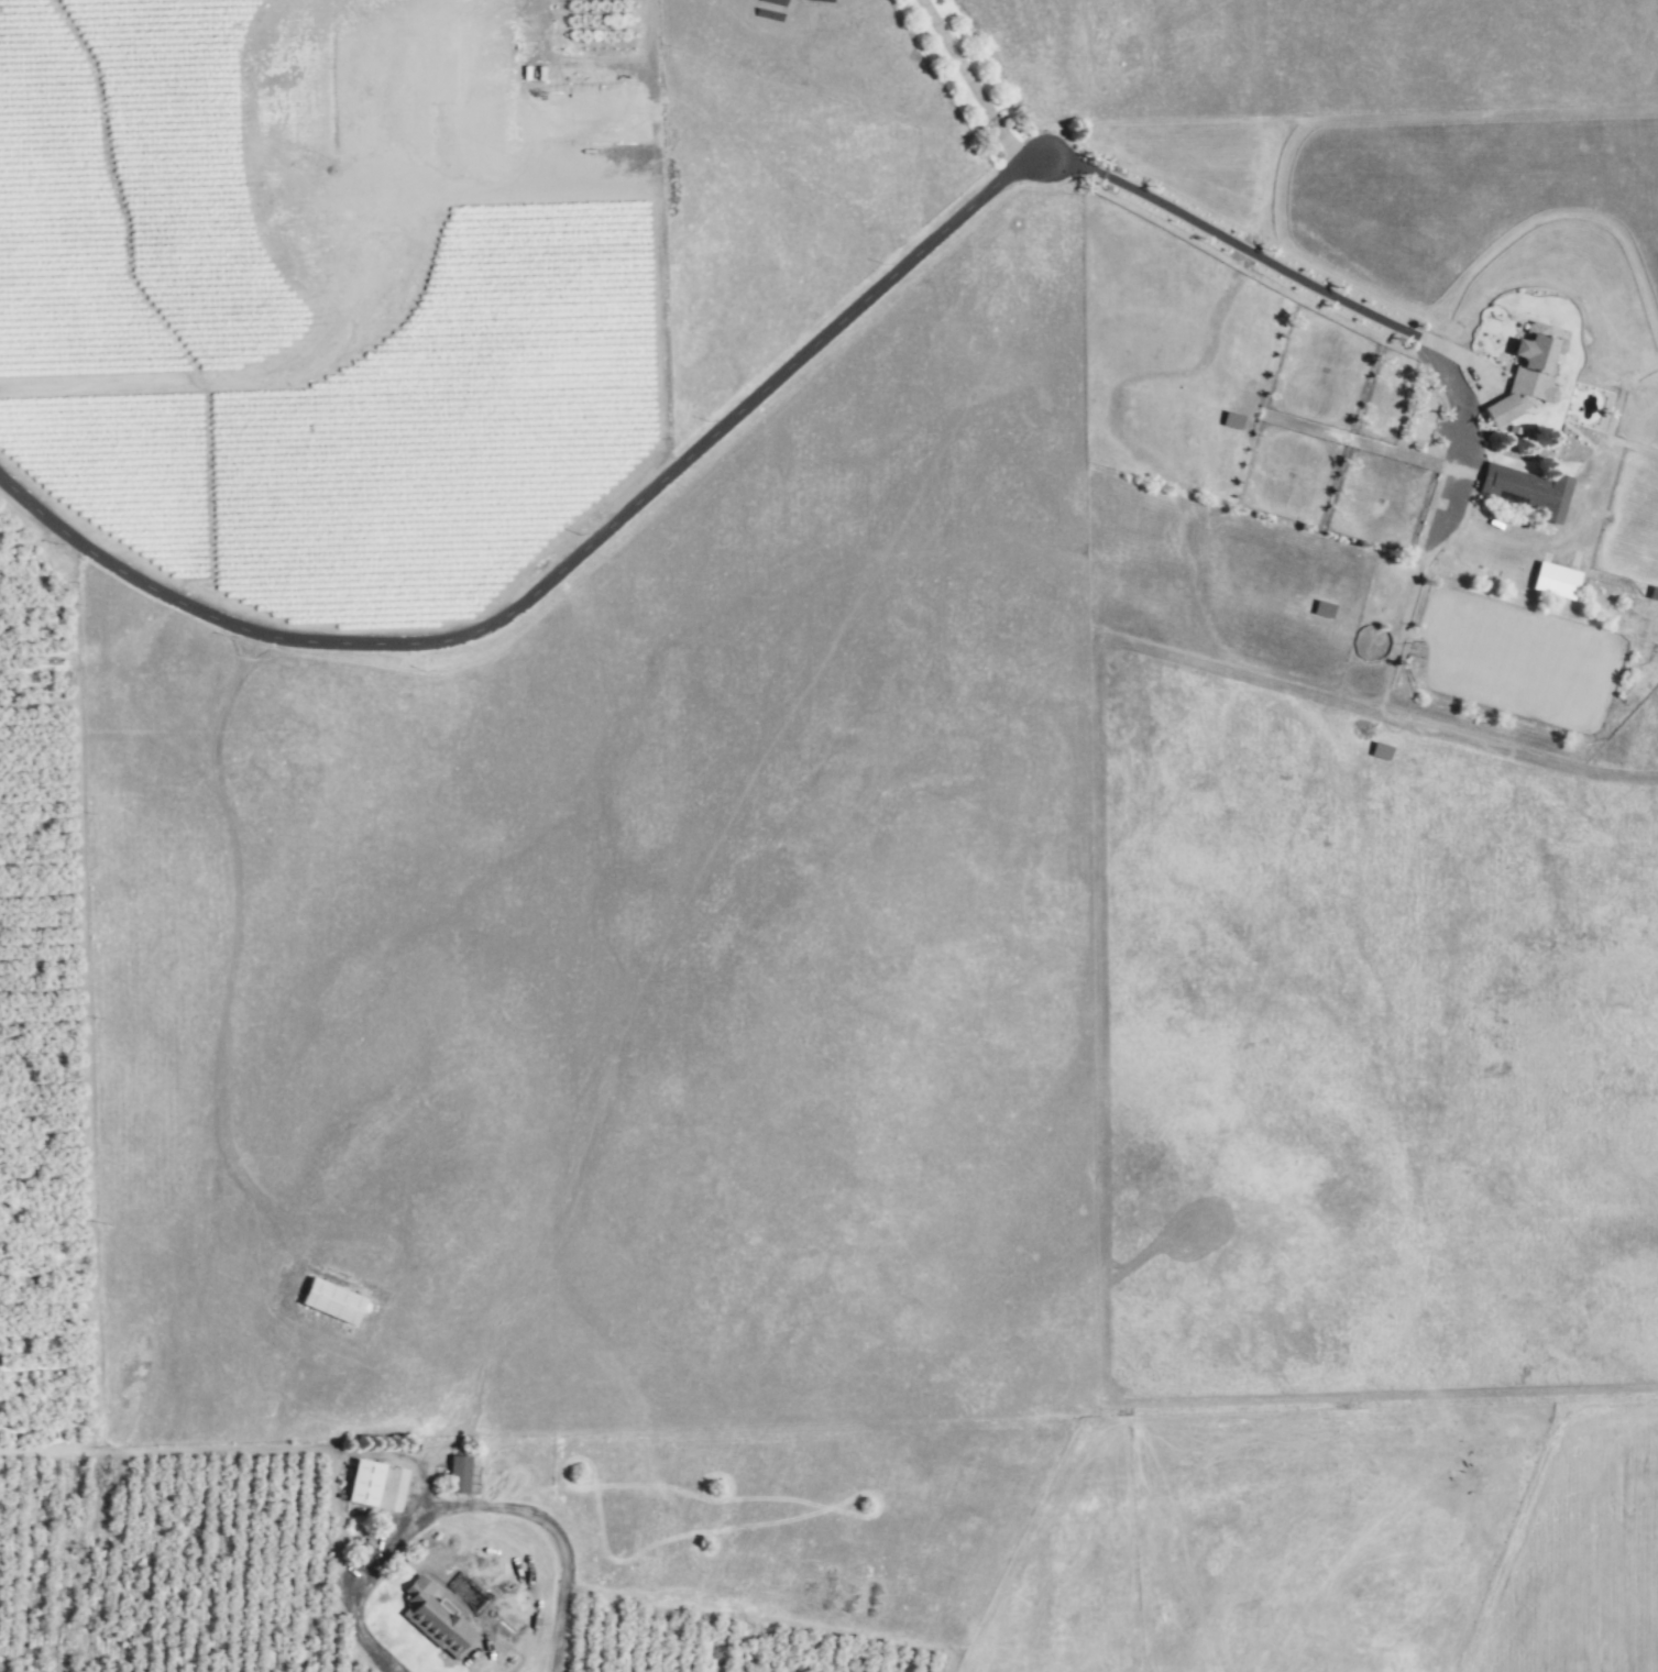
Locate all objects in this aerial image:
road: (976, 86)
road: (1249, 249)
building: (1524, 376)
building: (1233, 420)
building: (1525, 490)
road: (562, 569)
crop: (263, 570)
building: (1553, 581)
building: (1652, 593)
building: (1322, 608)
building: (1381, 751)
building: (329, 1301)
building: (459, 1474)
building: (363, 1483)
road: (562, 1547)
building: (426, 1613)
crop: (696, 1650)

